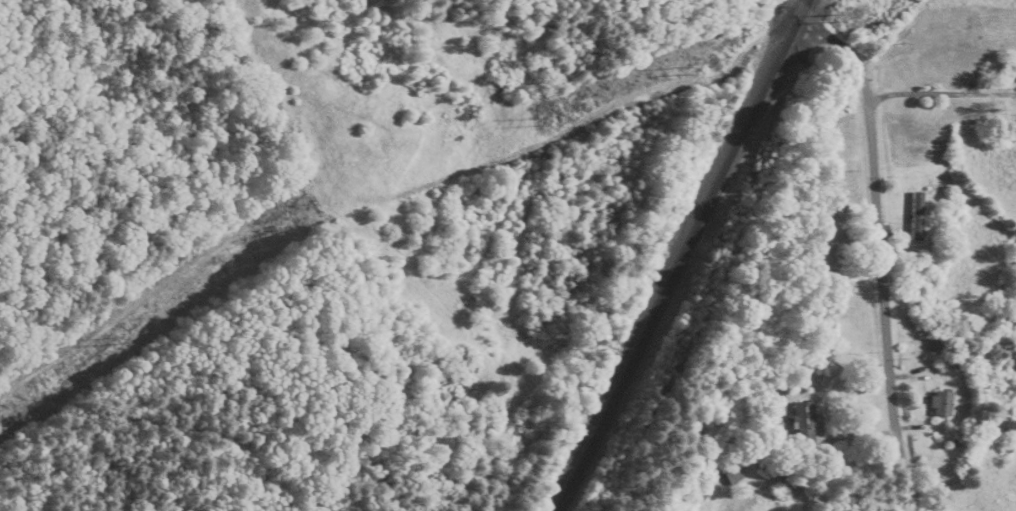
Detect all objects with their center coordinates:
railway: (798, 12)
road: (791, 24)
railway: (677, 269)
road: (876, 297)
building: (1007, 323)
building: (939, 405)
building: (803, 423)
road: (363, 446)
building: (728, 471)

